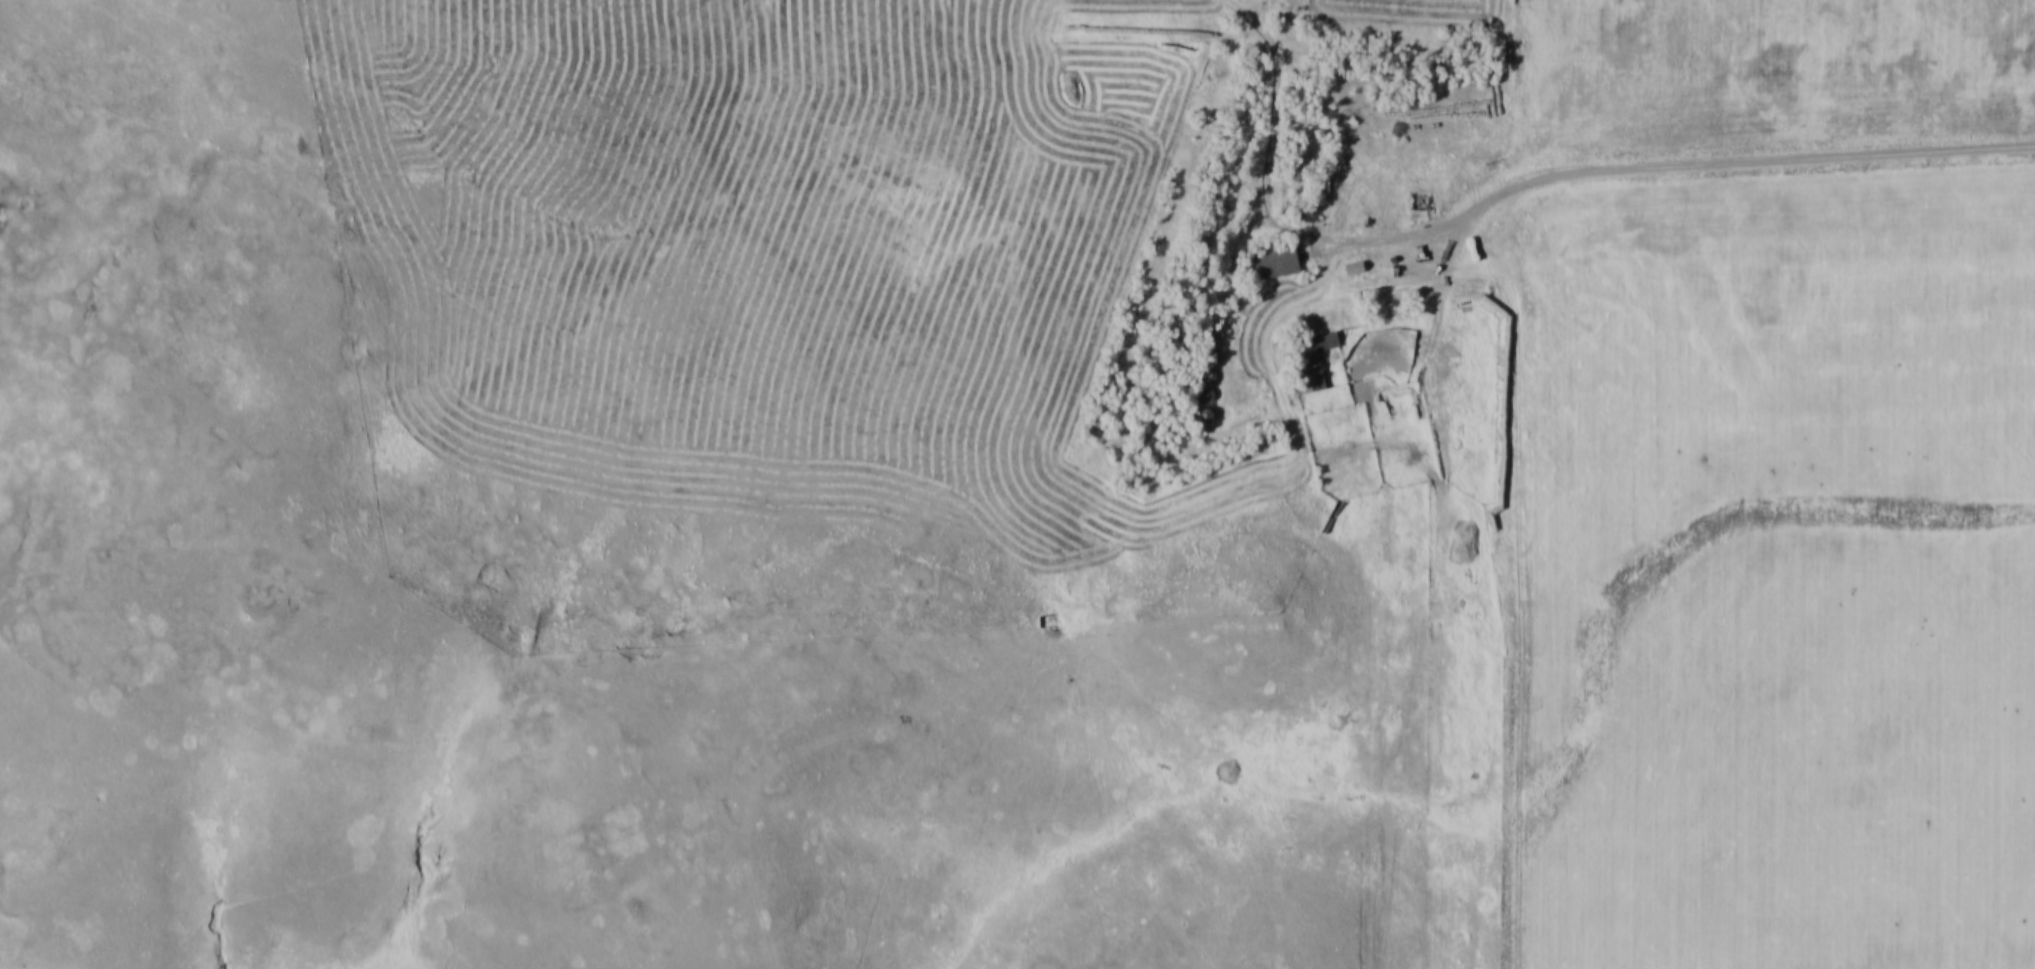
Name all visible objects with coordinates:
road: (325, 93)
road: (1278, 129)
road: (1679, 163)
building: (1419, 190)
building: (1420, 205)
building: (1270, 247)
building: (1350, 254)
building: (1352, 269)
road: (548, 331)
building: (1209, 341)
silo: (1209, 341)
building: (1308, 345)
building: (1207, 360)
silo: (1207, 360)
building: (1206, 379)
silo: (1206, 379)
building: (1203, 400)
silo: (1203, 400)
building: (1203, 416)
road: (1185, 500)

